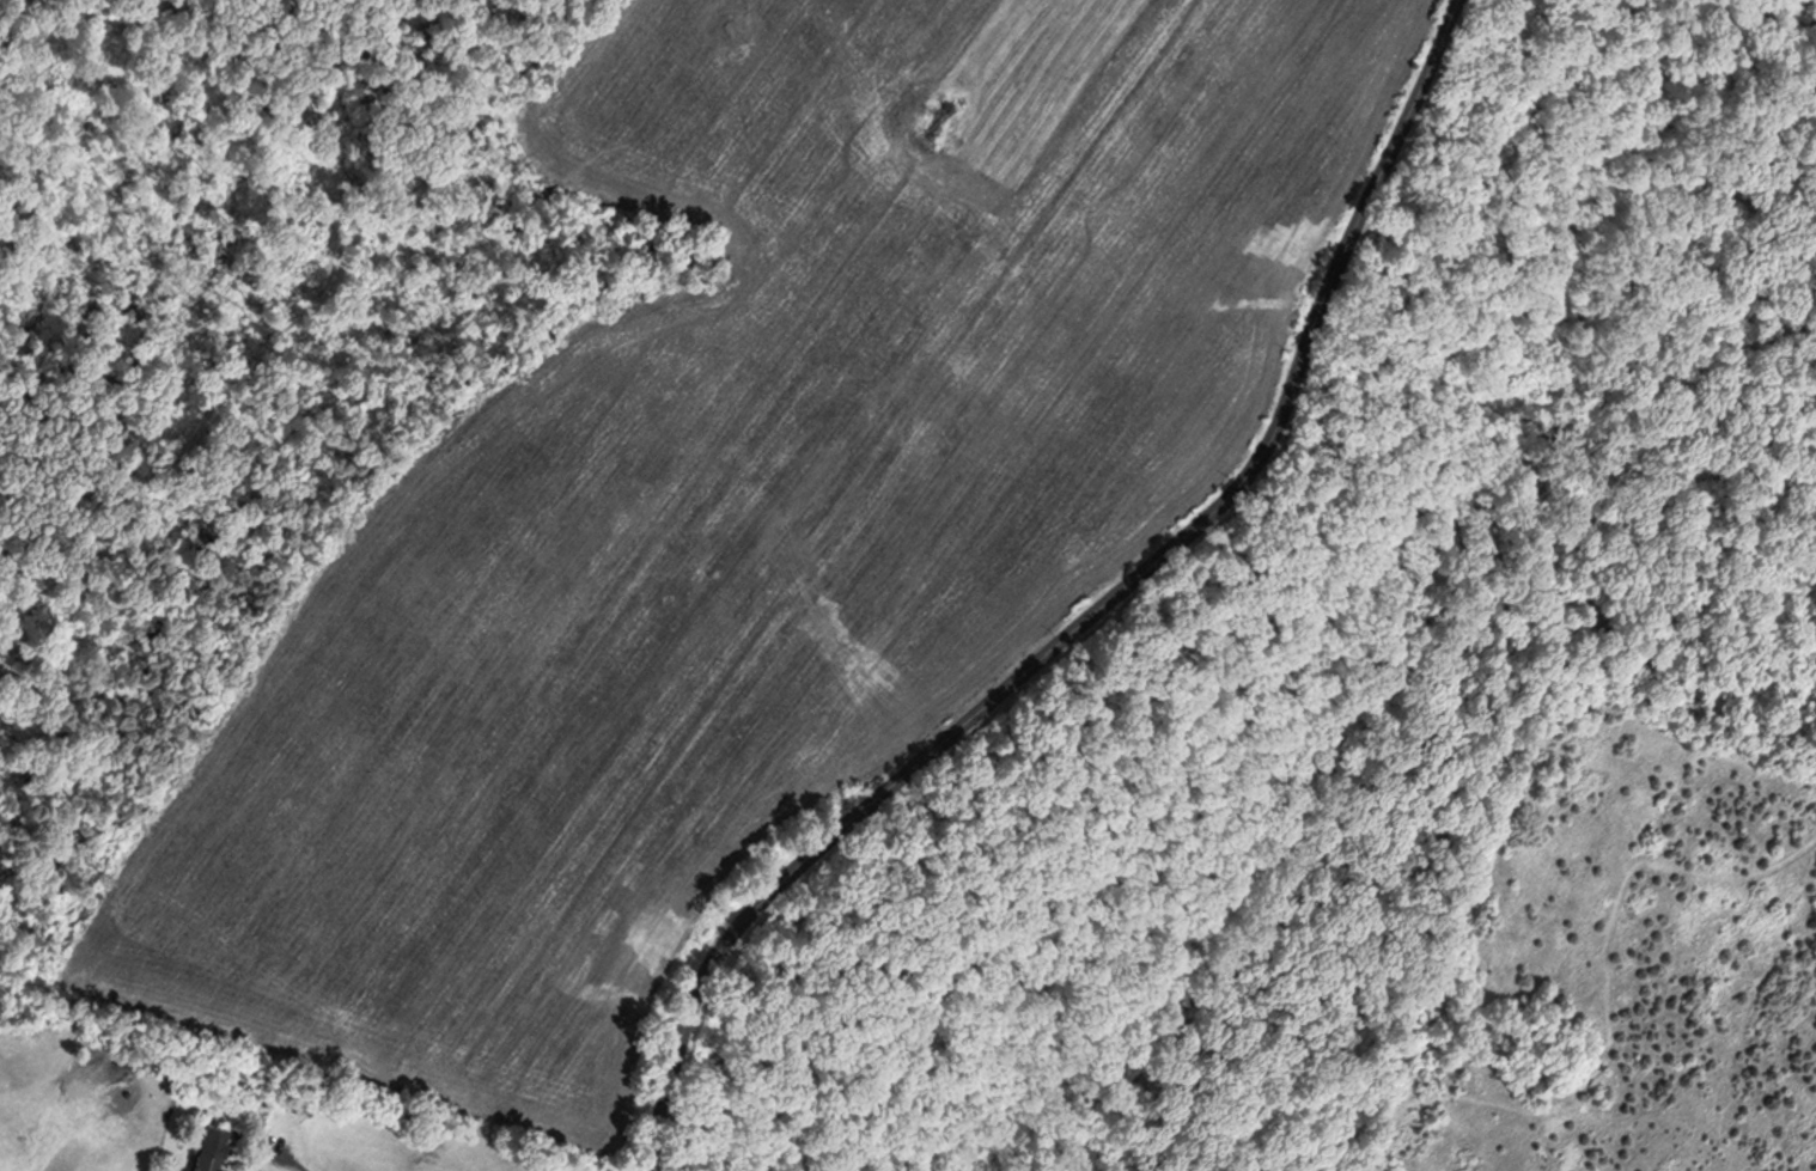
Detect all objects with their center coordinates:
road: (1089, 616)
building: (118, 1054)
building: (299, 1103)
building: (292, 1105)
building: (213, 1139)
road: (273, 1164)

